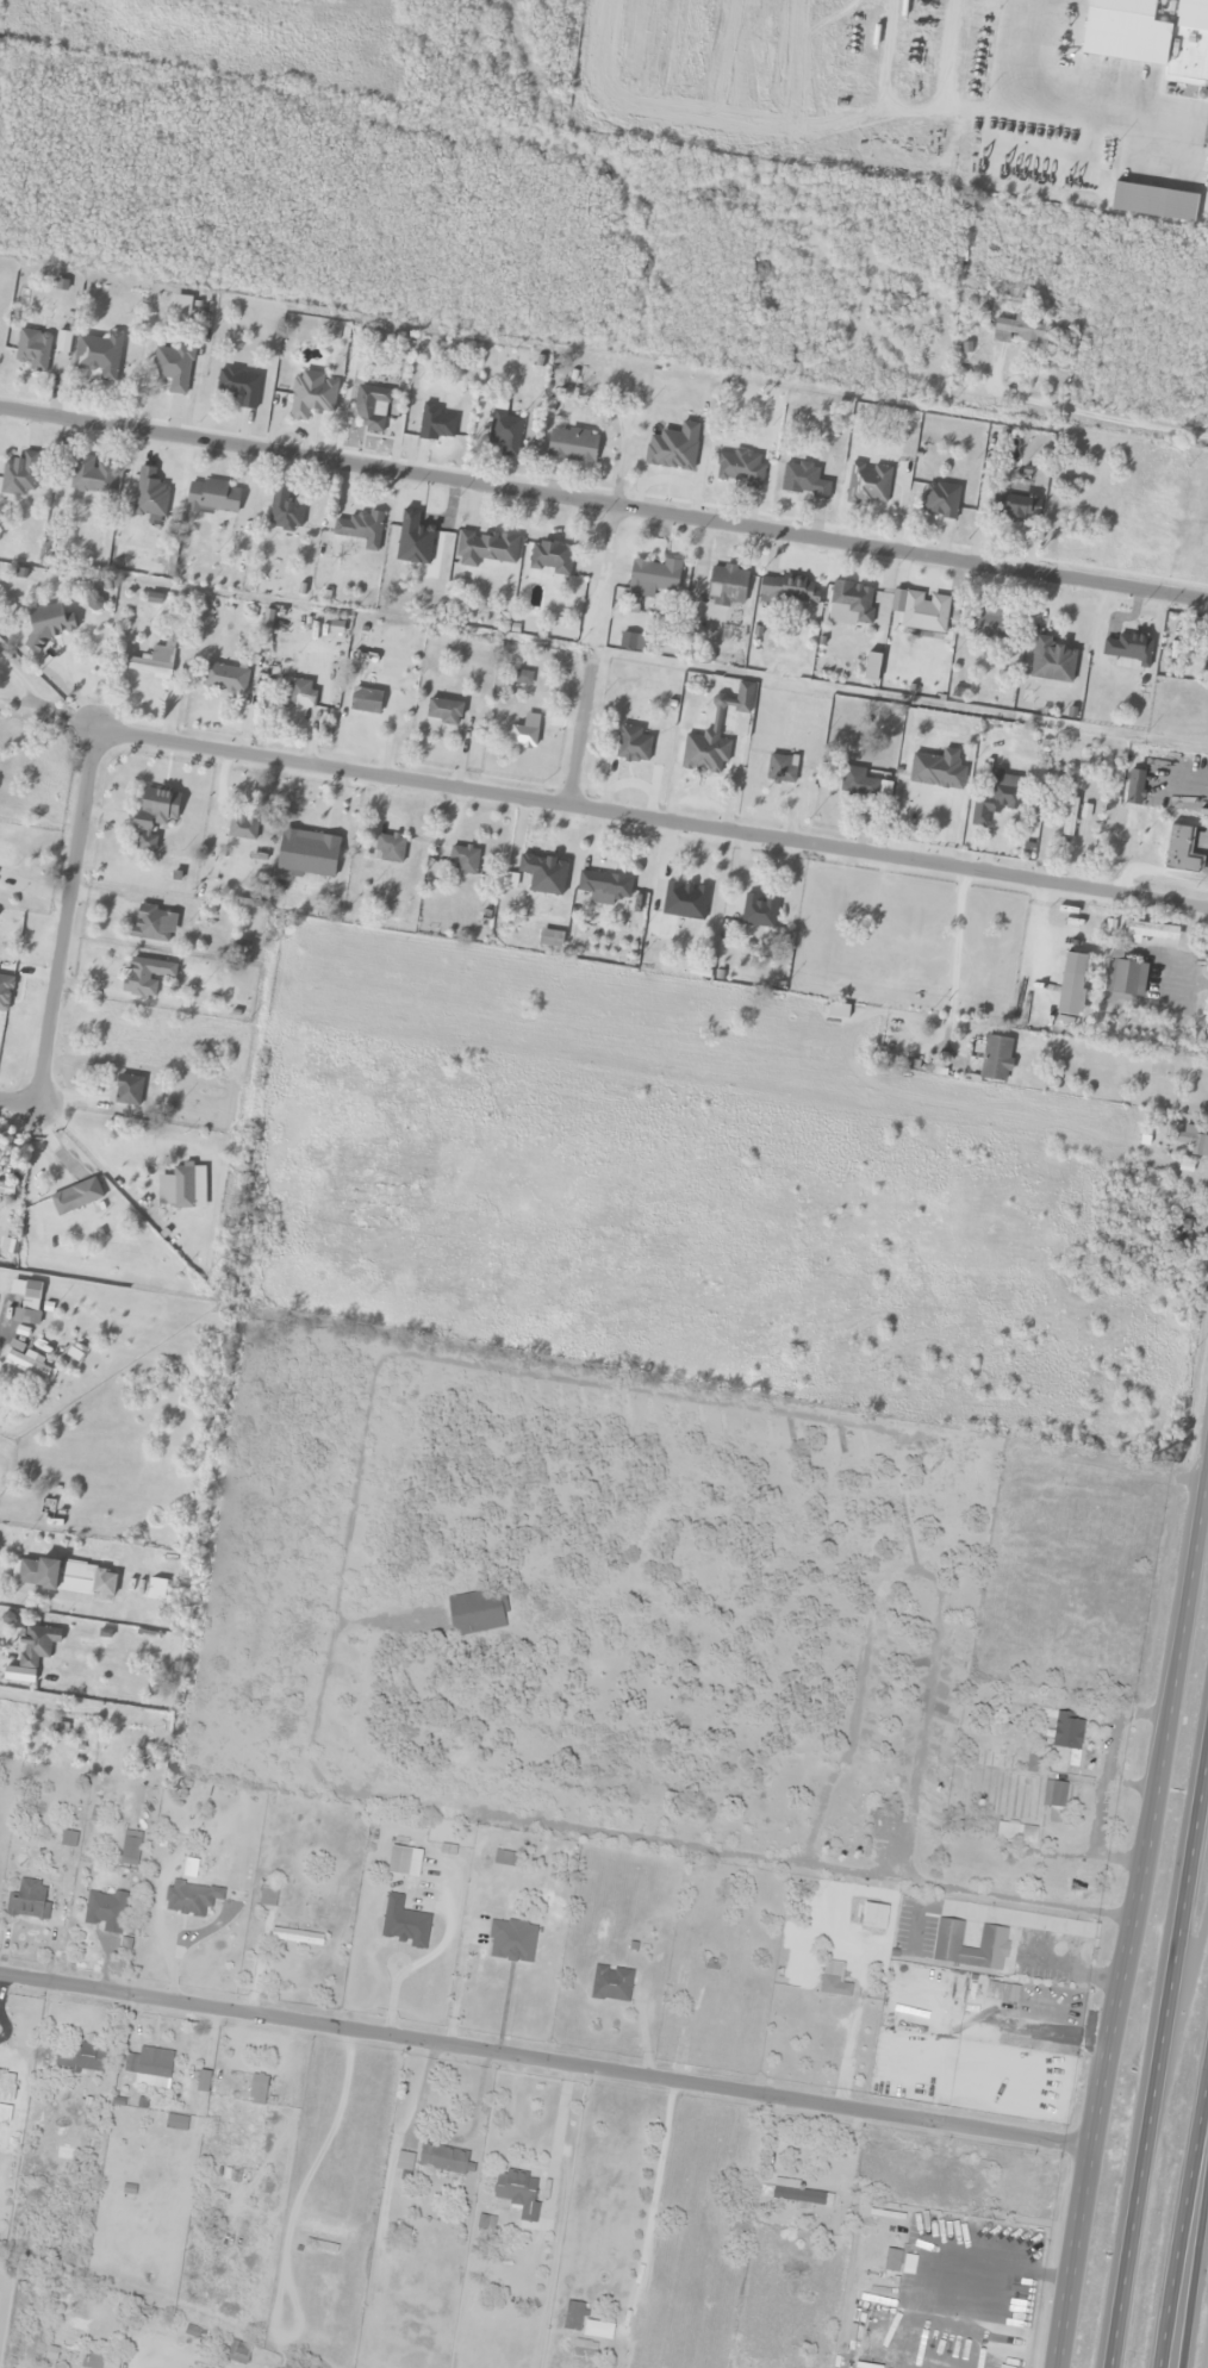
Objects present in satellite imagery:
building: (1154, 31)
building: (1098, 71)
building: (1185, 82)
building: (1204, 131)
building: (1158, 204)
building: (1019, 331)
building: (63, 342)
building: (32, 349)
building: (99, 355)
building: (172, 367)
building: (238, 386)
building: (311, 395)
building: (371, 409)
building: (435, 423)
building: (505, 432)
building: (572, 445)
building: (739, 468)
building: (19, 475)
building: (92, 476)
building: (801, 480)
building: (867, 484)
road: (604, 496)
building: (149, 497)
building: (212, 498)
building: (940, 499)
building: (1019, 507)
building: (284, 512)
building: (360, 529)
building: (484, 548)
building: (549, 557)
building: (653, 577)
building: (727, 586)
building: (789, 591)
building: (853, 600)
building: (923, 612)
building: (989, 623)
building: (45, 627)
building: (29, 642)
building: (1206, 658)
building: (1051, 661)
building: (151, 663)
building: (224, 678)
building: (299, 693)
building: (365, 700)
building: (443, 711)
building: (524, 733)
building: (631, 744)
building: (704, 753)
building: (780, 768)
building: (949, 774)
building: (857, 783)
road: (446, 785)
building: (1133, 787)
building: (1004, 794)
building: (154, 816)
building: (1069, 817)
building: (242, 828)
building: (388, 848)
building: (1179, 850)
building: (306, 854)
building: (462, 859)
building: (541, 874)
building: (603, 886)
building: (684, 901)
building: (758, 911)
building: (150, 924)
building: (1151, 931)
building: (145, 976)
building: (1126, 978)
building: (1071, 985)
building: (989, 1059)
building: (127, 1090)
building: (1193, 1140)
building: (142, 1172)
building: (6, 1188)
building: (74, 1198)
building: (1135, 1229)
building: (1179, 1233)
building: (26, 1301)
building: (26, 1361)
building: (837, 1441)
building: (66, 1577)
building: (478, 1612)
building: (35, 1646)
building: (1069, 1736)
building: (1054, 1800)
building: (1016, 1832)
building: (130, 1850)
building: (505, 1858)
building: (398, 1869)
building: (268, 1894)
building: (191, 1897)
building: (30, 1899)
road: (1138, 1902)
building: (105, 1909)
building: (405, 1923)
building: (297, 1936)
building: (994, 1938)
building: (511, 1939)
building: (611, 1983)
building: (822, 2018)
road: (1157, 2045)
building: (80, 2057)
building: (149, 2063)
road: (544, 2063)
building: (7, 2088)
building: (257, 2089)
building: (176, 2123)
building: (446, 2160)
building: (404, 2161)
building: (518, 2193)
building: (797, 2193)
building: (323, 2229)
road: (1182, 2230)
building: (961, 2235)
road: (1194, 2256)
building: (584, 2322)
building: (238, 2351)
building: (99, 2361)

